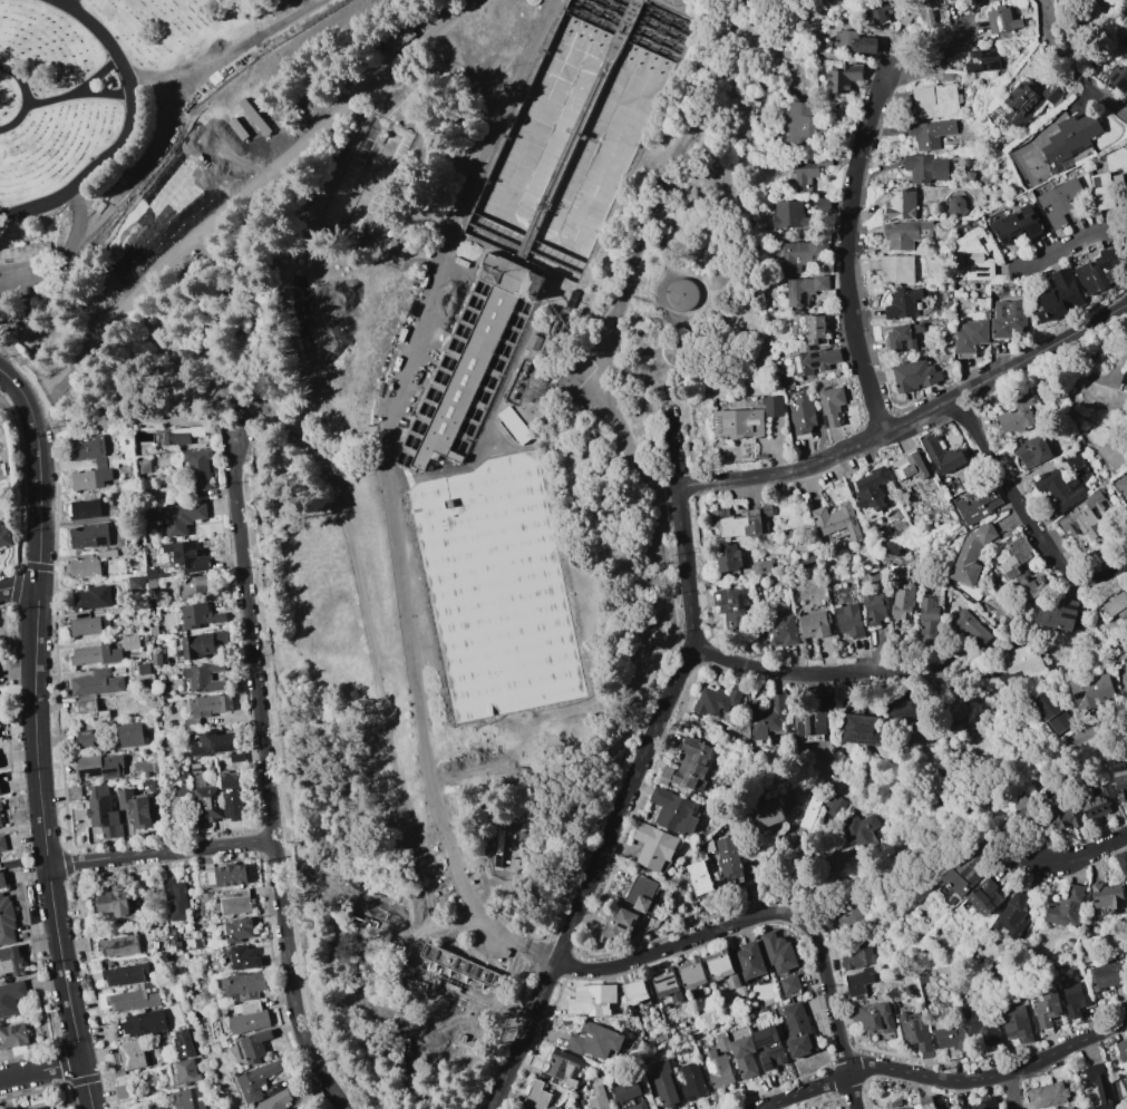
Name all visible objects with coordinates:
building: (948, 0)
building: (952, 0)
building: (1058, 0)
building: (1062, 0)
road: (67, 1)
road: (69, 1)
building: (532, 2)
building: (882, 9)
building: (921, 11)
building: (1091, 13)
building: (1002, 20)
building: (398, 38)
building: (856, 42)
building: (1125, 43)
building: (1126, 52)
road: (230, 56)
building: (983, 60)
road: (1071, 66)
road: (385, 76)
building: (945, 77)
building: (843, 78)
building: (1118, 78)
road: (20, 82)
road: (80, 90)
road: (101, 97)
building: (936, 100)
building: (1029, 100)
park: (108, 109)
road: (18, 123)
building: (804, 125)
building: (579, 130)
road: (128, 132)
road: (494, 132)
building: (931, 134)
building: (1072, 138)
building: (1004, 140)
building: (968, 162)
building: (379, 166)
building: (926, 168)
building: (807, 169)
building: (970, 176)
building: (1105, 188)
road: (854, 189)
building: (1019, 192)
building: (1028, 197)
building: (1063, 203)
building: (956, 204)
building: (900, 205)
building: (789, 215)
building: (1018, 226)
building: (907, 234)
road: (1070, 245)
building: (23, 253)
building: (801, 254)
building: (974, 255)
building: (897, 269)
road: (150, 272)
building: (1098, 272)
building: (805, 290)
building: (681, 294)
building: (1059, 296)
building: (903, 303)
building: (453, 305)
building: (1009, 320)
building: (321, 325)
building: (817, 330)
building: (438, 331)
building: (903, 337)
building: (971, 337)
building: (533, 342)
road: (1040, 352)
building: (815, 360)
building: (469, 366)
building: (915, 376)
building: (1125, 379)
building: (832, 403)
building: (771, 406)
building: (803, 416)
building: (1019, 416)
building: (739, 425)
building: (513, 426)
building: (1078, 426)
building: (182, 435)
road: (673, 448)
building: (1033, 450)
building: (96, 454)
building: (941, 454)
road: (820, 461)
building: (910, 466)
building: (144, 467)
building: (201, 467)
building: (84, 480)
building: (1063, 485)
building: (952, 486)
building: (1121, 486)
building: (871, 493)
building: (979, 503)
building: (84, 509)
road: (1024, 513)
building: (179, 517)
building: (1084, 517)
building: (741, 522)
building: (836, 522)
building: (927, 526)
building: (4, 535)
building: (89, 537)
building: (107, 554)
building: (971, 555)
building: (185, 556)
building: (728, 557)
building: (1014, 558)
building: (84, 567)
building: (762, 567)
building: (152, 584)
road: (18, 586)
building: (195, 587)
building: (1034, 587)
building: (495, 588)
building: (115, 591)
building: (91, 597)
building: (729, 601)
building: (903, 604)
building: (1116, 605)
building: (874, 609)
building: (116, 611)
building: (1057, 615)
building: (197, 616)
building: (929, 616)
building: (848, 620)
building: (815, 624)
building: (84, 626)
building: (969, 626)
building: (154, 631)
building: (781, 631)
road: (252, 635)
building: (145, 639)
road: (361, 639)
building: (130, 642)
building: (203, 643)
building: (142, 654)
building: (96, 655)
building: (156, 660)
building: (1023, 661)
building: (142, 668)
building: (119, 670)
building: (1126, 671)
road: (807, 674)
building: (205, 678)
building: (97, 682)
building: (1092, 692)
building: (848, 698)
building: (717, 701)
building: (212, 706)
building: (903, 707)
building: (87, 710)
building: (955, 710)
building: (1050, 711)
building: (768, 719)
building: (812, 719)
building: (192, 723)
building: (863, 729)
building: (87, 733)
building: (132, 735)
road: (32, 737)
building: (87, 742)
building: (214, 743)
building: (236, 757)
building: (689, 766)
building: (95, 767)
building: (197, 774)
building: (1119, 778)
building: (153, 785)
building: (113, 787)
building: (232, 797)
building: (178, 800)
building: (1096, 801)
road: (624, 804)
building: (206, 806)
building: (1026, 806)
building: (0, 808)
building: (137, 808)
building: (835, 808)
building: (810, 810)
building: (103, 811)
building: (674, 811)
building: (764, 815)
building: (1066, 819)
building: (1, 820)
building: (853, 831)
building: (2, 843)
building: (654, 846)
road: (161, 853)
building: (514, 853)
building: (728, 855)
road: (1081, 856)
building: (1123, 863)
building: (964, 874)
building: (227, 876)
building: (2, 879)
building: (699, 881)
building: (206, 894)
building: (644, 894)
building: (1108, 895)
building: (195, 896)
building: (982, 898)
building: (176, 899)
building: (111, 903)
building: (234, 906)
building: (1067, 907)
building: (857, 913)
road: (773, 914)
building: (1012, 916)
building: (7, 921)
building: (619, 923)
building: (236, 931)
building: (174, 942)
building: (119, 946)
building: (778, 952)
building: (858, 956)
building: (241, 957)
road: (1021, 959)
building: (10, 961)
building: (751, 962)
building: (723, 967)
building: (457, 973)
building: (125, 974)
building: (1105, 976)
building: (693, 977)
road: (291, 982)
building: (858, 982)
building: (667, 984)
building: (789, 984)
building: (243, 985)
building: (637, 992)
building: (11, 998)
building: (136, 998)
building: (1075, 999)
building: (593, 1000)
building: (1047, 1009)
building: (249, 1018)
building: (875, 1020)
building: (145, 1023)
building: (1016, 1024)
building: (984, 1029)
building: (797, 1030)
building: (916, 1032)
building: (13, 1035)
building: (951, 1038)
building: (599, 1041)
building: (721, 1041)
building: (182, 1043)
road: (1075, 1044)
building: (252, 1047)
building: (770, 1047)
building: (1121, 1049)
building: (132, 1056)
building: (744, 1057)
building: (593, 1064)
building: (717, 1068)
building: (565, 1069)
road: (40, 1070)
road: (859, 1070)
building: (184, 1073)
road: (997, 1077)
building: (1126, 1077)
building: (691, 1080)
building: (256, 1081)
building: (662, 1081)
building: (1099, 1083)
building: (272, 1089)
road: (1010, 1092)
building: (1047, 1095)
building: (537, 1096)
building: (631, 1096)
building: (597, 1098)
building: (188, 1099)
building: (275, 1100)
building: (926, 1101)
building: (987, 1103)
building: (43, 1107)
building: (11, 1108)
building: (574, 1108)
building: (1068, 1108)

